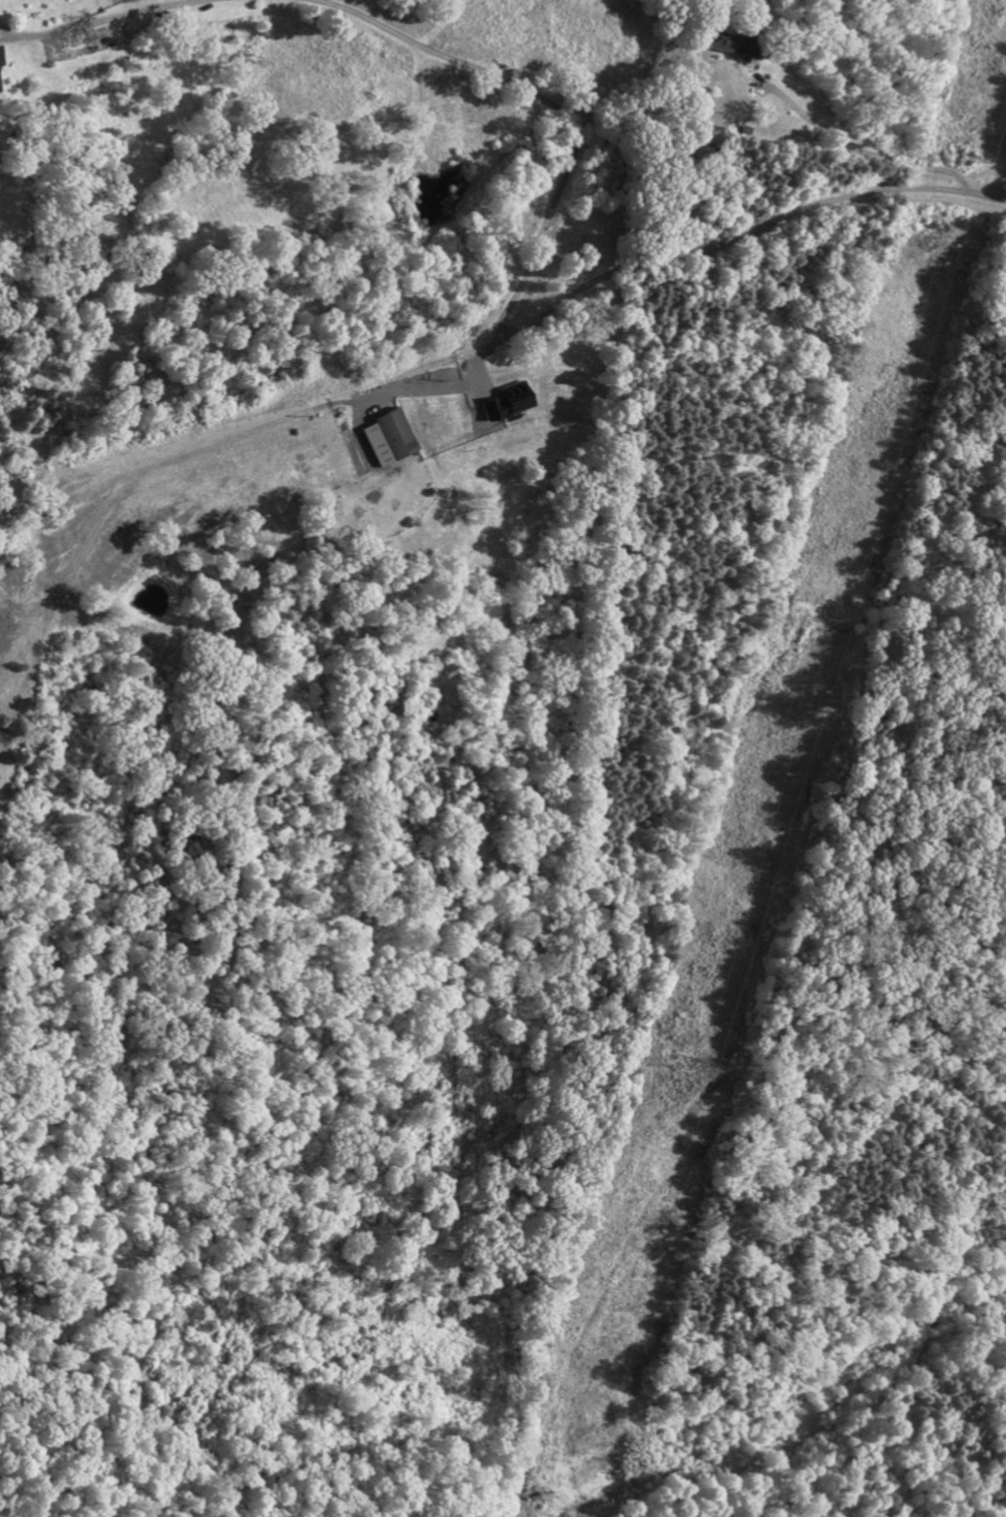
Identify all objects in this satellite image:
road: (114, 18)
building: (783, 27)
building: (32, 48)
road: (558, 108)
road: (863, 154)
power tower: (964, 159)
road: (704, 250)
building: (553, 383)
building: (438, 415)
power tower: (695, 1063)

